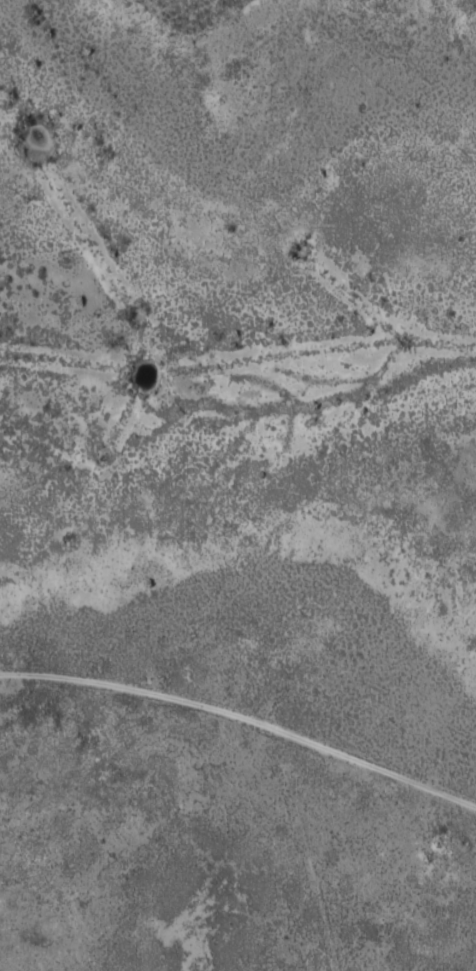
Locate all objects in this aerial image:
road: (242, 731)

